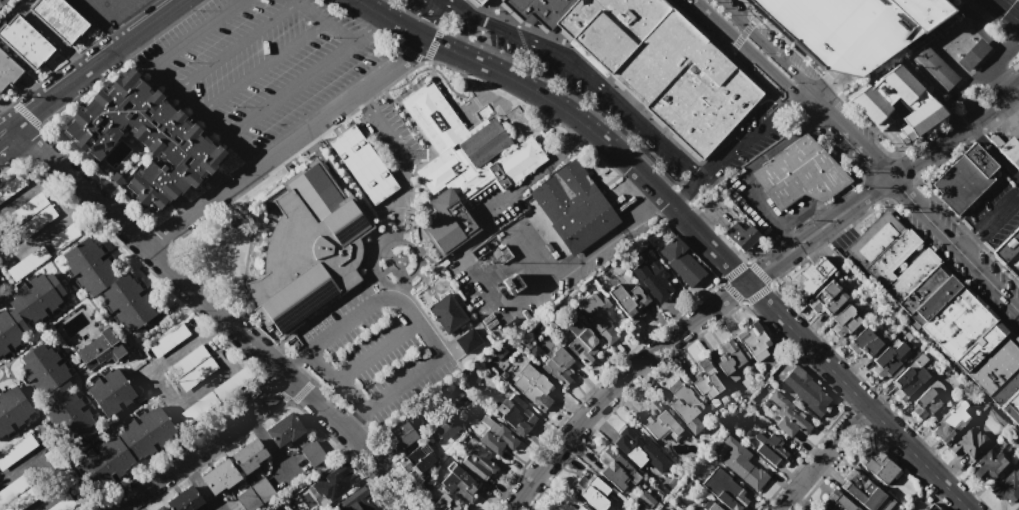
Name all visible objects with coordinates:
building: (1, 1)
road: (429, 3)
road: (98, 7)
road: (114, 7)
road: (1008, 7)
parking lot: (107, 10)
building: (57, 18)
road: (428, 18)
road: (325, 21)
road: (115, 27)
road: (367, 28)
building: (848, 28)
road: (195, 32)
road: (742, 35)
road: (985, 36)
building: (22, 40)
road: (766, 44)
road: (236, 45)
road: (1003, 46)
road: (748, 50)
building: (972, 57)
building: (645, 61)
road: (95, 62)
road: (950, 63)
parking lot: (259, 64)
road: (263, 67)
building: (933, 68)
building: (6, 70)
road: (584, 74)
road: (821, 84)
parking lot: (595, 87)
road: (290, 89)
building: (883, 93)
road: (188, 102)
road: (993, 102)
road: (366, 103)
road: (816, 105)
building: (917, 116)
road: (1006, 117)
building: (1018, 120)
road: (832, 122)
road: (5, 126)
road: (5, 130)
parking lot: (389, 135)
road: (388, 136)
road: (752, 136)
building: (139, 140)
road: (286, 145)
road: (992, 150)
building: (1010, 150)
road: (241, 151)
road: (927, 151)
road: (863, 154)
building: (460, 163)
road: (550, 163)
building: (362, 164)
road: (402, 172)
building: (797, 173)
road: (913, 174)
building: (963, 178)
road: (26, 186)
road: (682, 188)
road: (649, 203)
road: (495, 205)
building: (571, 205)
road: (823, 211)
road: (996, 212)
building: (33, 213)
road: (772, 218)
road: (687, 222)
road: (42, 232)
building: (739, 234)
building: (66, 236)
building: (872, 238)
road: (965, 242)
road: (953, 245)
building: (306, 250)
building: (1009, 250)
building: (479, 251)
road: (518, 257)
building: (678, 258)
building: (26, 264)
building: (920, 264)
building: (87, 266)
building: (650, 273)
building: (809, 276)
road: (722, 281)
building: (508, 283)
building: (0, 290)
building: (921, 290)
building: (37, 296)
road: (524, 299)
building: (629, 299)
building: (825, 299)
building: (127, 301)
road: (214, 312)
building: (447, 313)
building: (601, 318)
road: (417, 321)
building: (842, 321)
building: (956, 322)
building: (11, 327)
road: (683, 328)
building: (750, 337)
building: (576, 338)
building: (167, 340)
building: (466, 340)
building: (896, 341)
building: (862, 343)
road: (215, 348)
road: (376, 349)
building: (96, 351)
building: (728, 359)
road: (293, 360)
building: (884, 362)
building: (995, 362)
building: (560, 367)
building: (191, 368)
building: (46, 374)
road: (335, 378)
building: (705, 379)
building: (904, 383)
building: (532, 387)
building: (1005, 387)
road: (166, 390)
building: (804, 390)
building: (109, 392)
building: (214, 395)
building: (683, 404)
building: (924, 404)
building: (12, 409)
building: (1011, 409)
building: (515, 414)
building: (787, 416)
building: (71, 419)
road: (356, 421)
building: (660, 421)
building: (951, 421)
building: (445, 427)
building: (282, 430)
building: (399, 435)
building: (495, 439)
road: (267, 442)
building: (968, 444)
road: (201, 445)
building: (126, 446)
building: (633, 446)
building: (17, 449)
building: (771, 450)
building: (311, 453)
building: (248, 455)
road: (821, 458)
building: (54, 460)
building: (414, 460)
building: (479, 463)
building: (741, 464)
building: (878, 466)
road: (47, 467)
building: (989, 467)
road: (288, 470)
building: (614, 470)
building: (219, 477)
building: (334, 483)
building: (459, 484)
road: (197, 485)
building: (1007, 486)
building: (592, 491)
building: (864, 492)
building: (16, 494)
building: (254, 494)
building: (728, 495)
building: (645, 499)
building: (183, 500)
building: (355, 501)
building: (835, 502)
building: (442, 503)
building: (61, 504)
building: (567, 504)
building: (711, 507)
building: (157, 508)
building: (903, 508)
building: (929, 508)
road: (116, 509)
road: (234, 509)
building: (280, 509)

